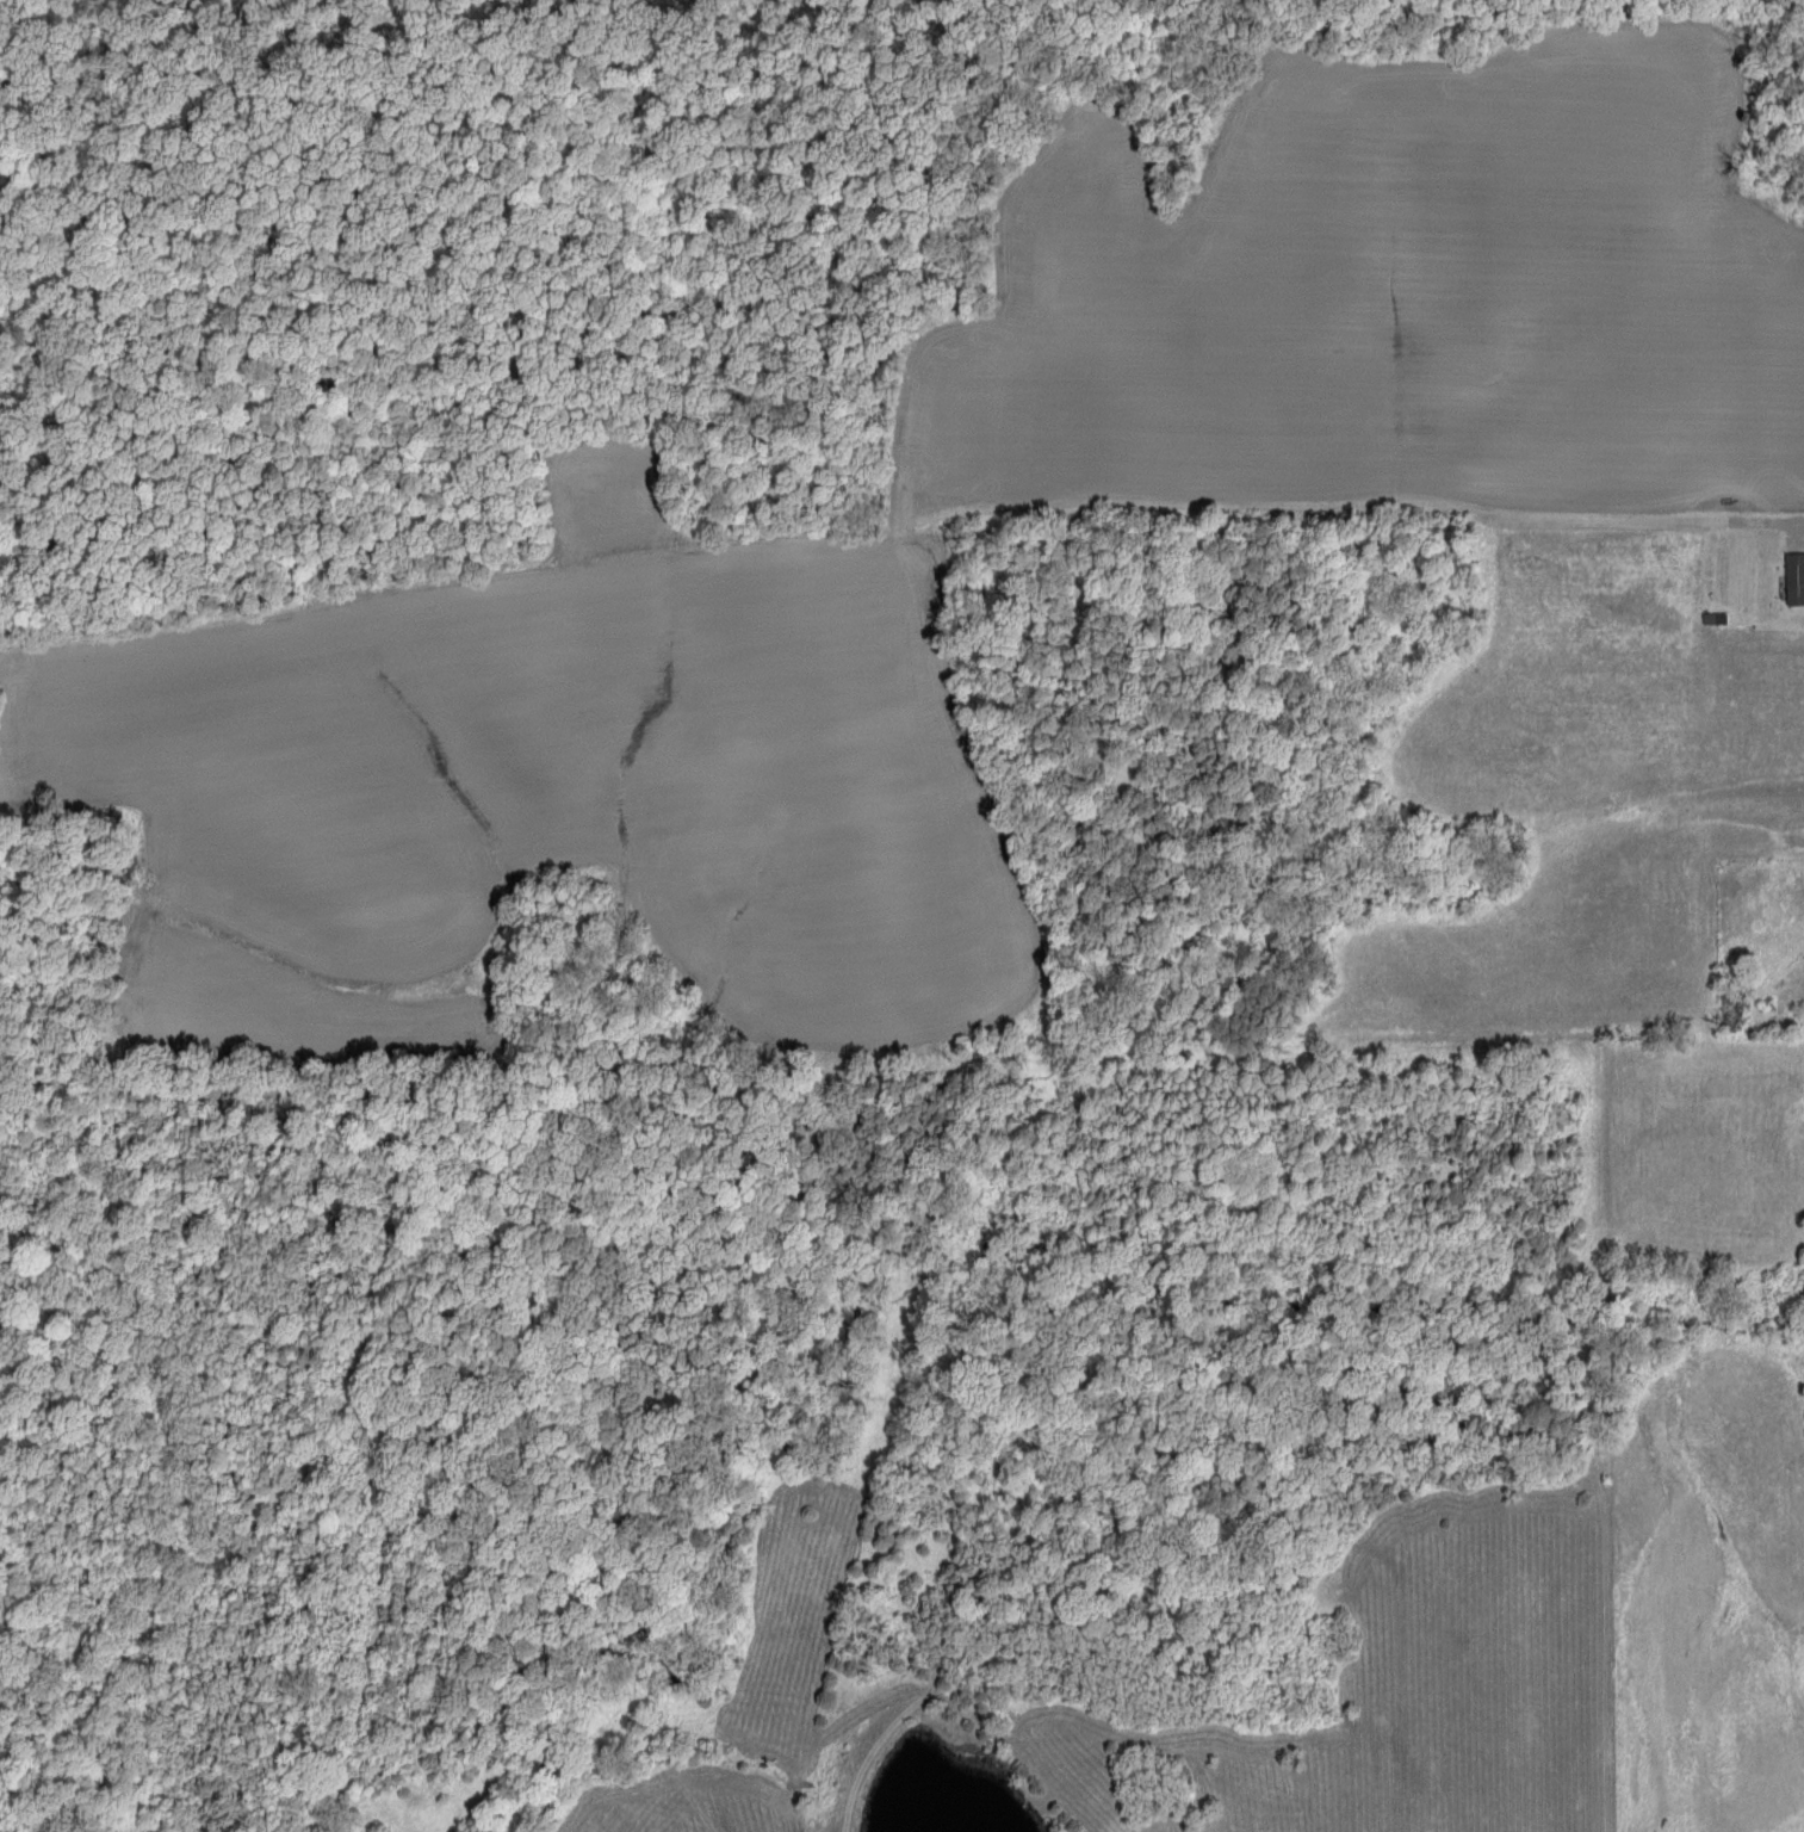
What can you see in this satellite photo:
building: (1794, 577)

